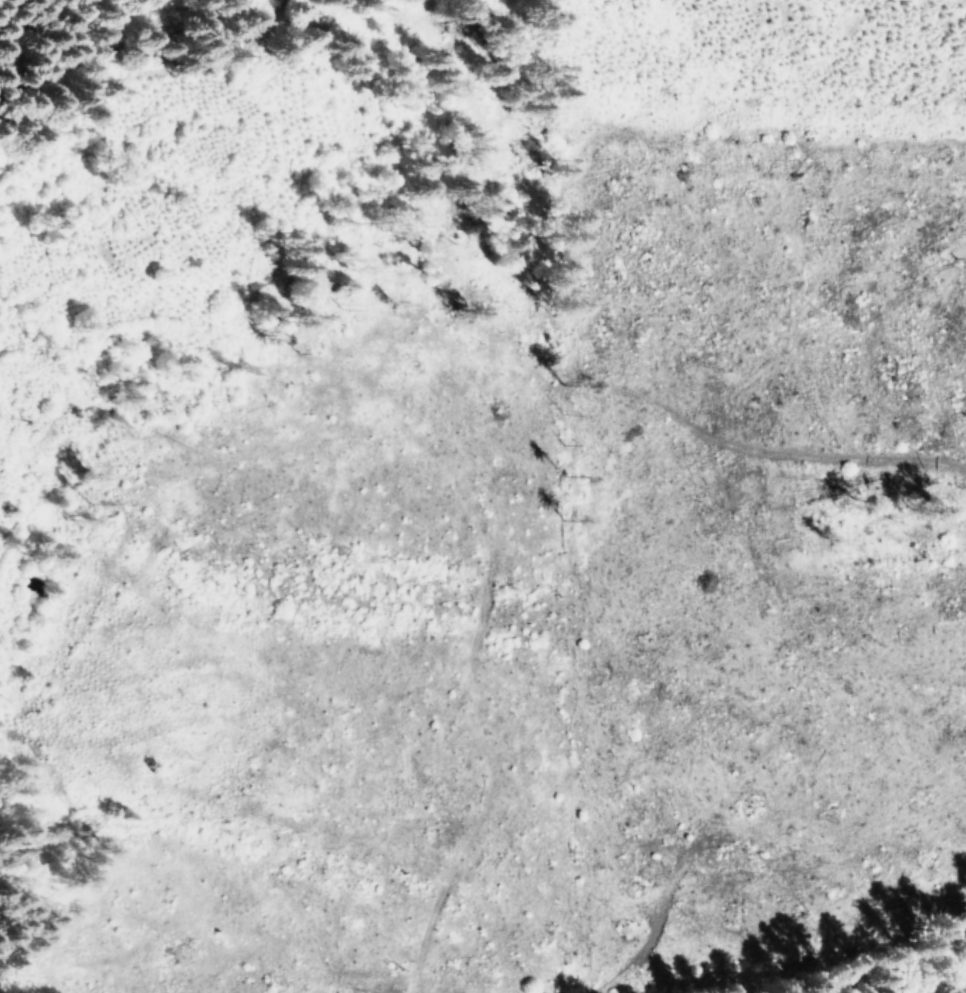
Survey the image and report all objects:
road: (166, 64)
road: (577, 364)
road: (42, 373)
road: (210, 376)

